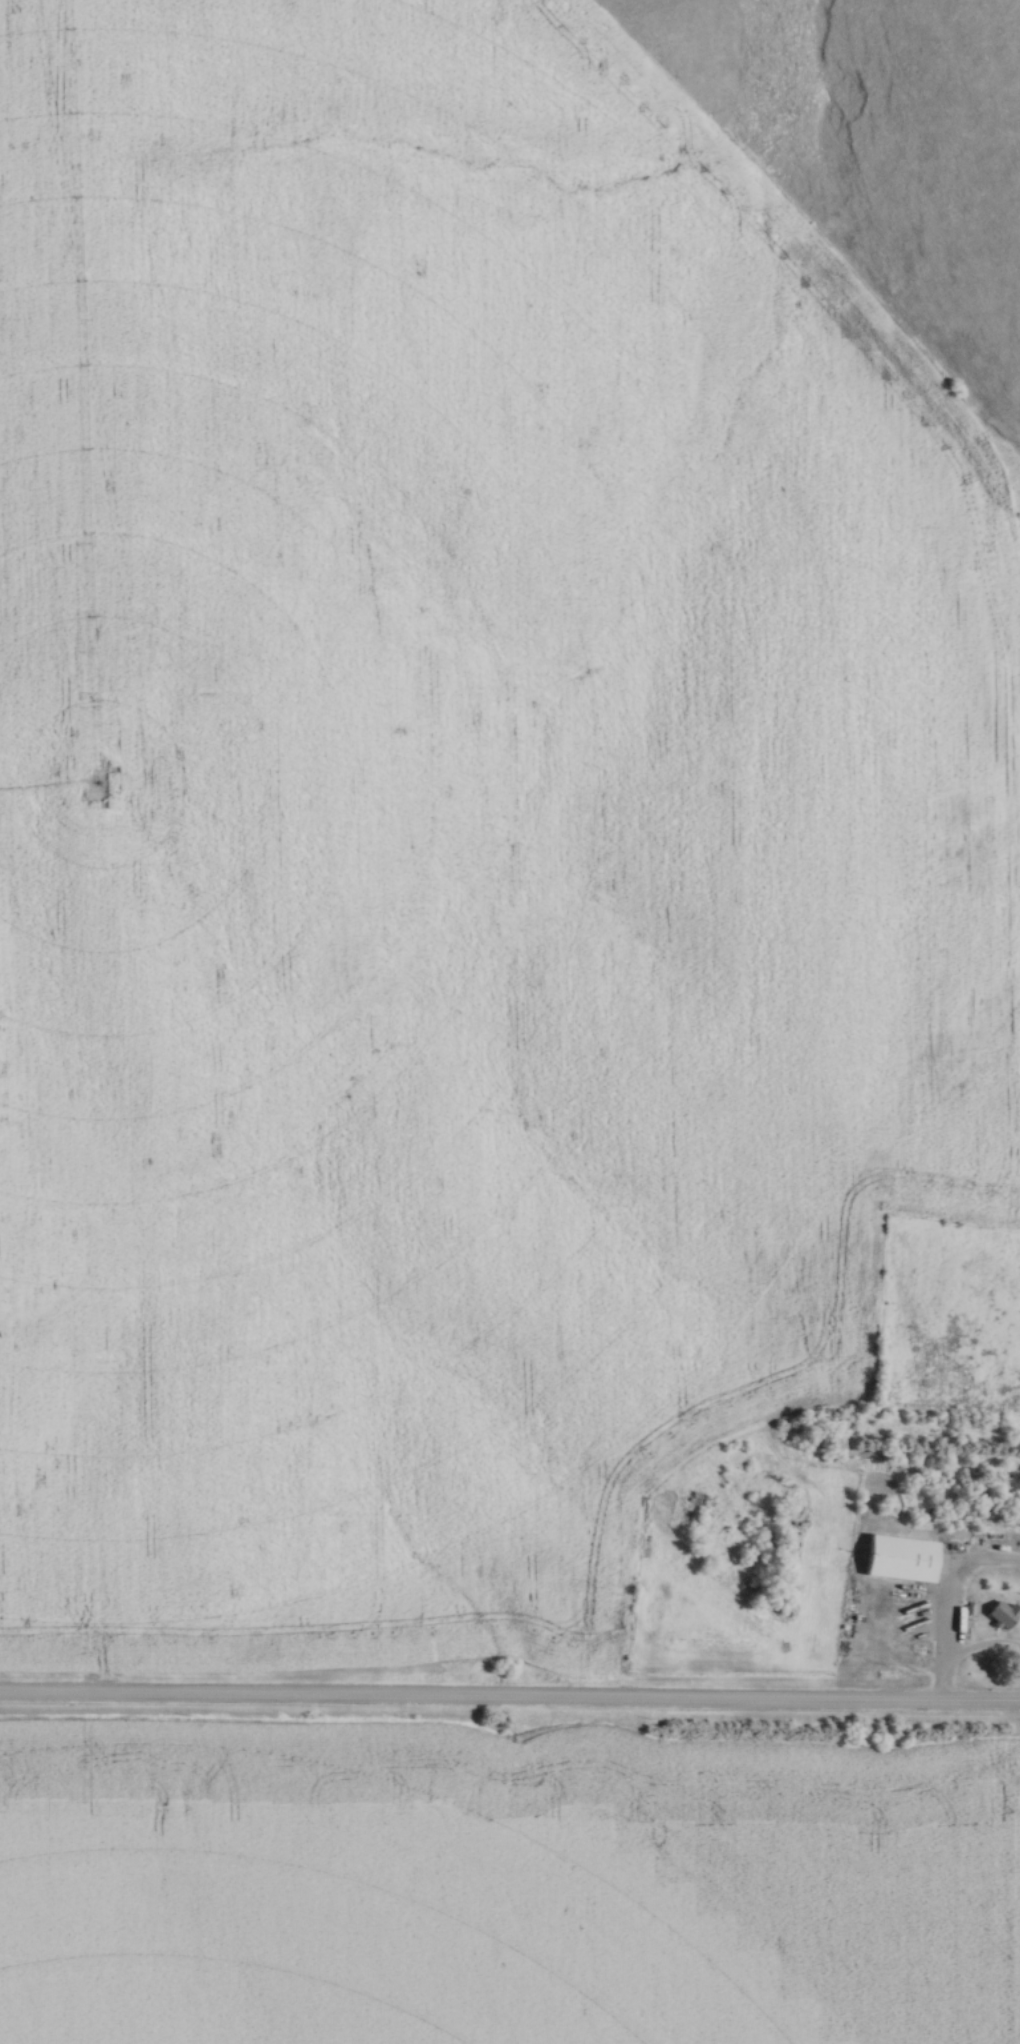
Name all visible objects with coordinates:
building: (695, 1497)
building: (905, 1559)
road: (958, 1651)
road: (509, 1701)

